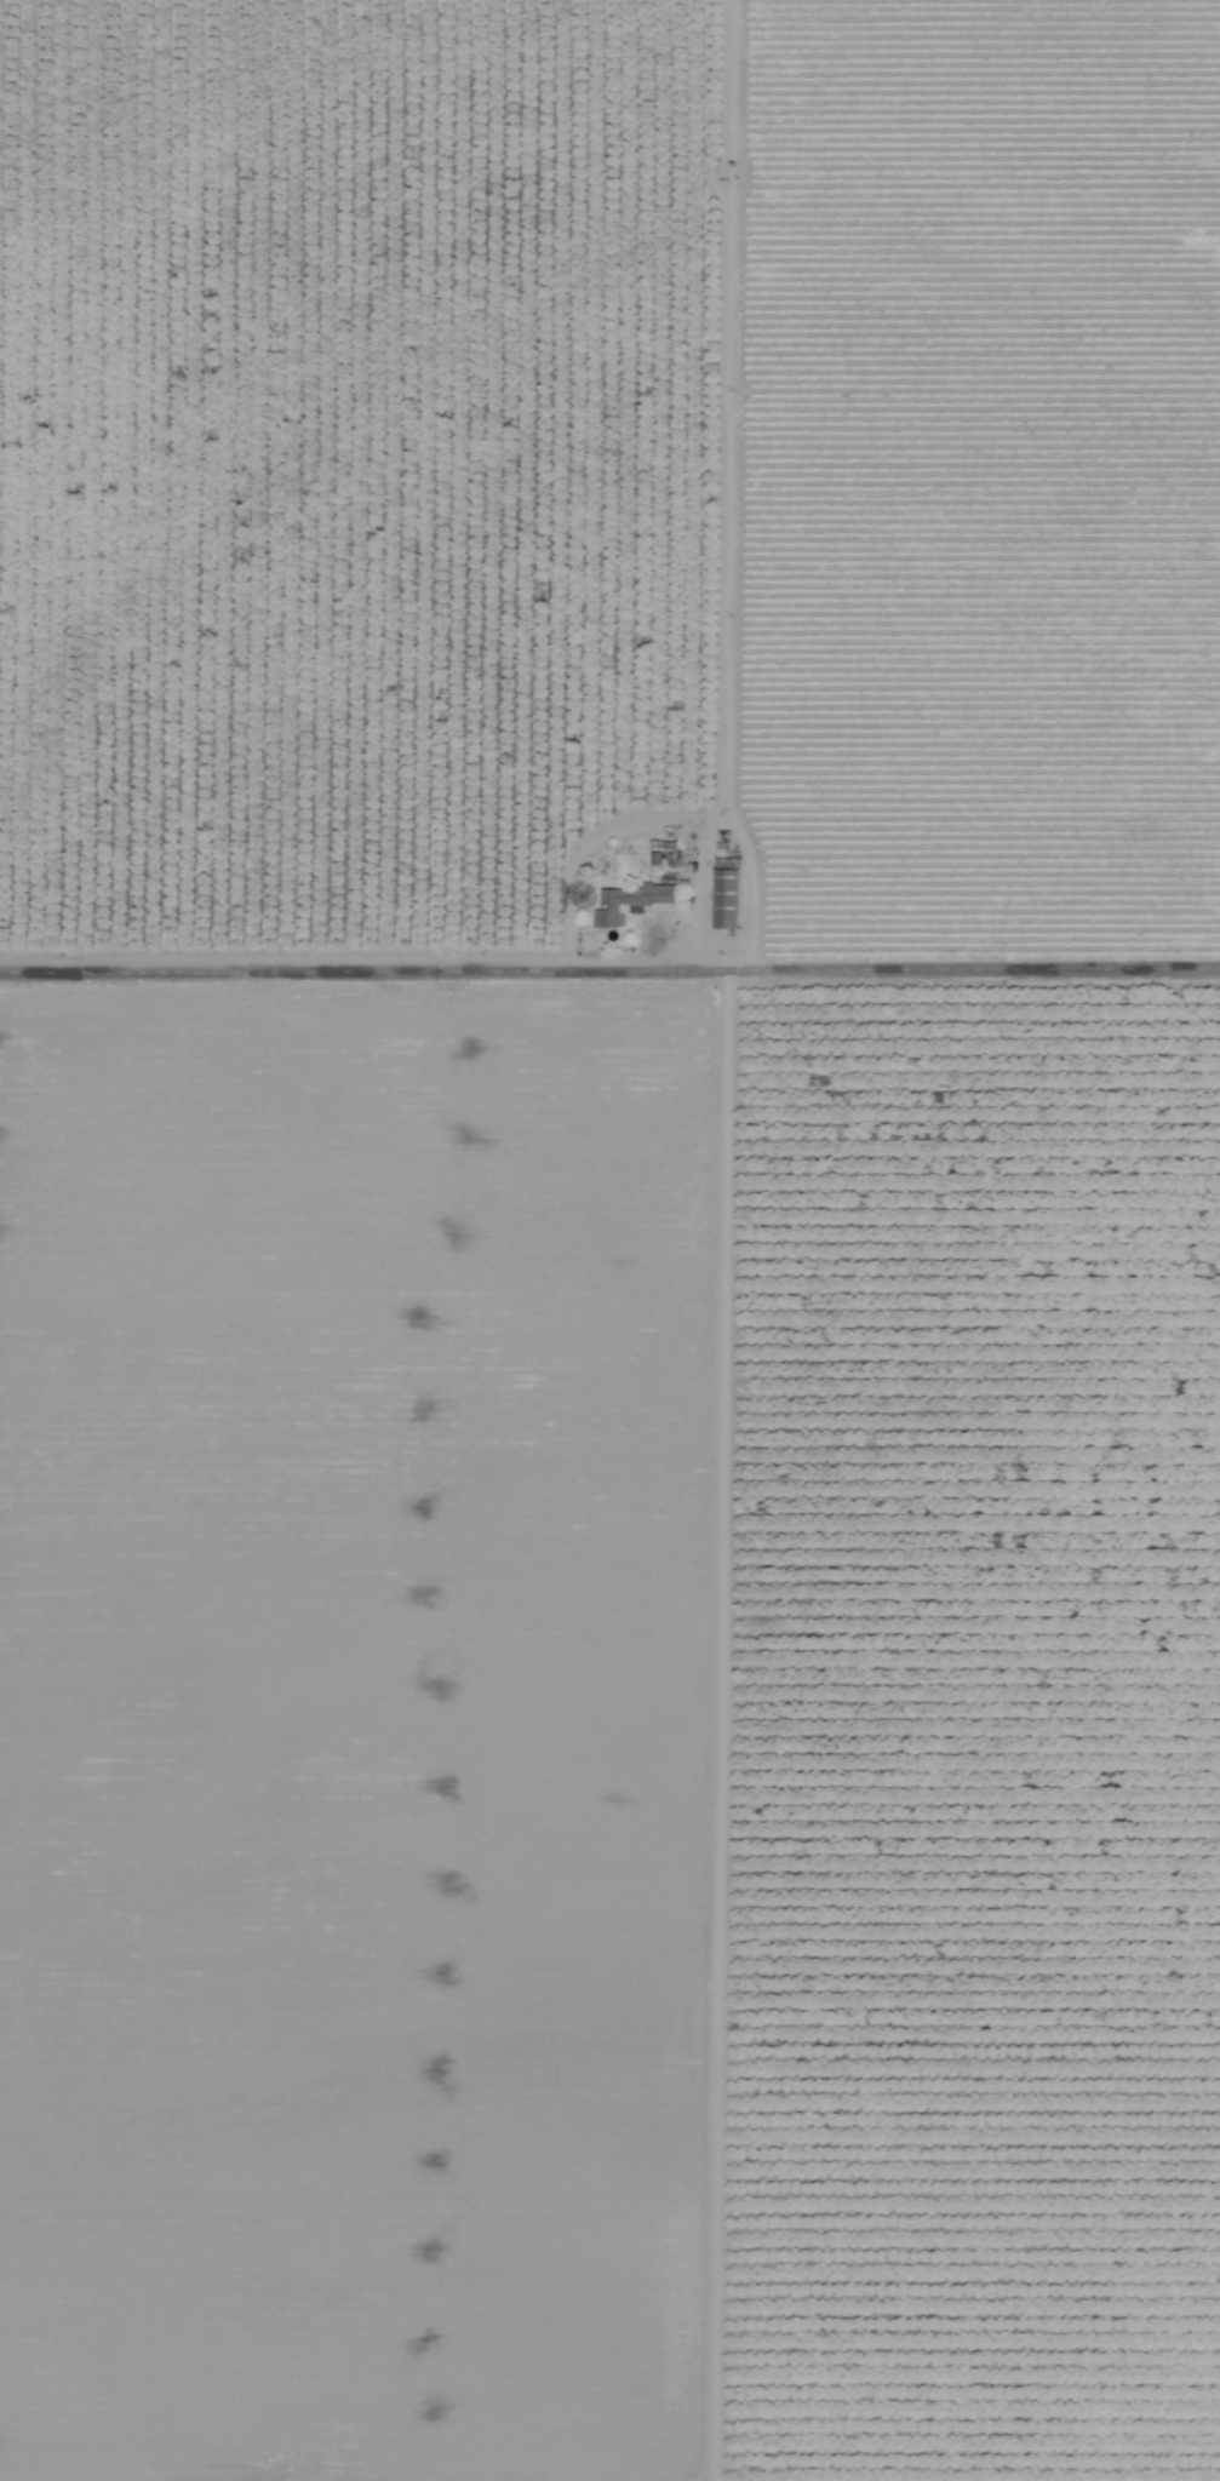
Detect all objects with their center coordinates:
road: (661, 821)
road: (701, 893)
building: (722, 894)
building: (623, 904)
road: (609, 961)
road: (709, 1720)

